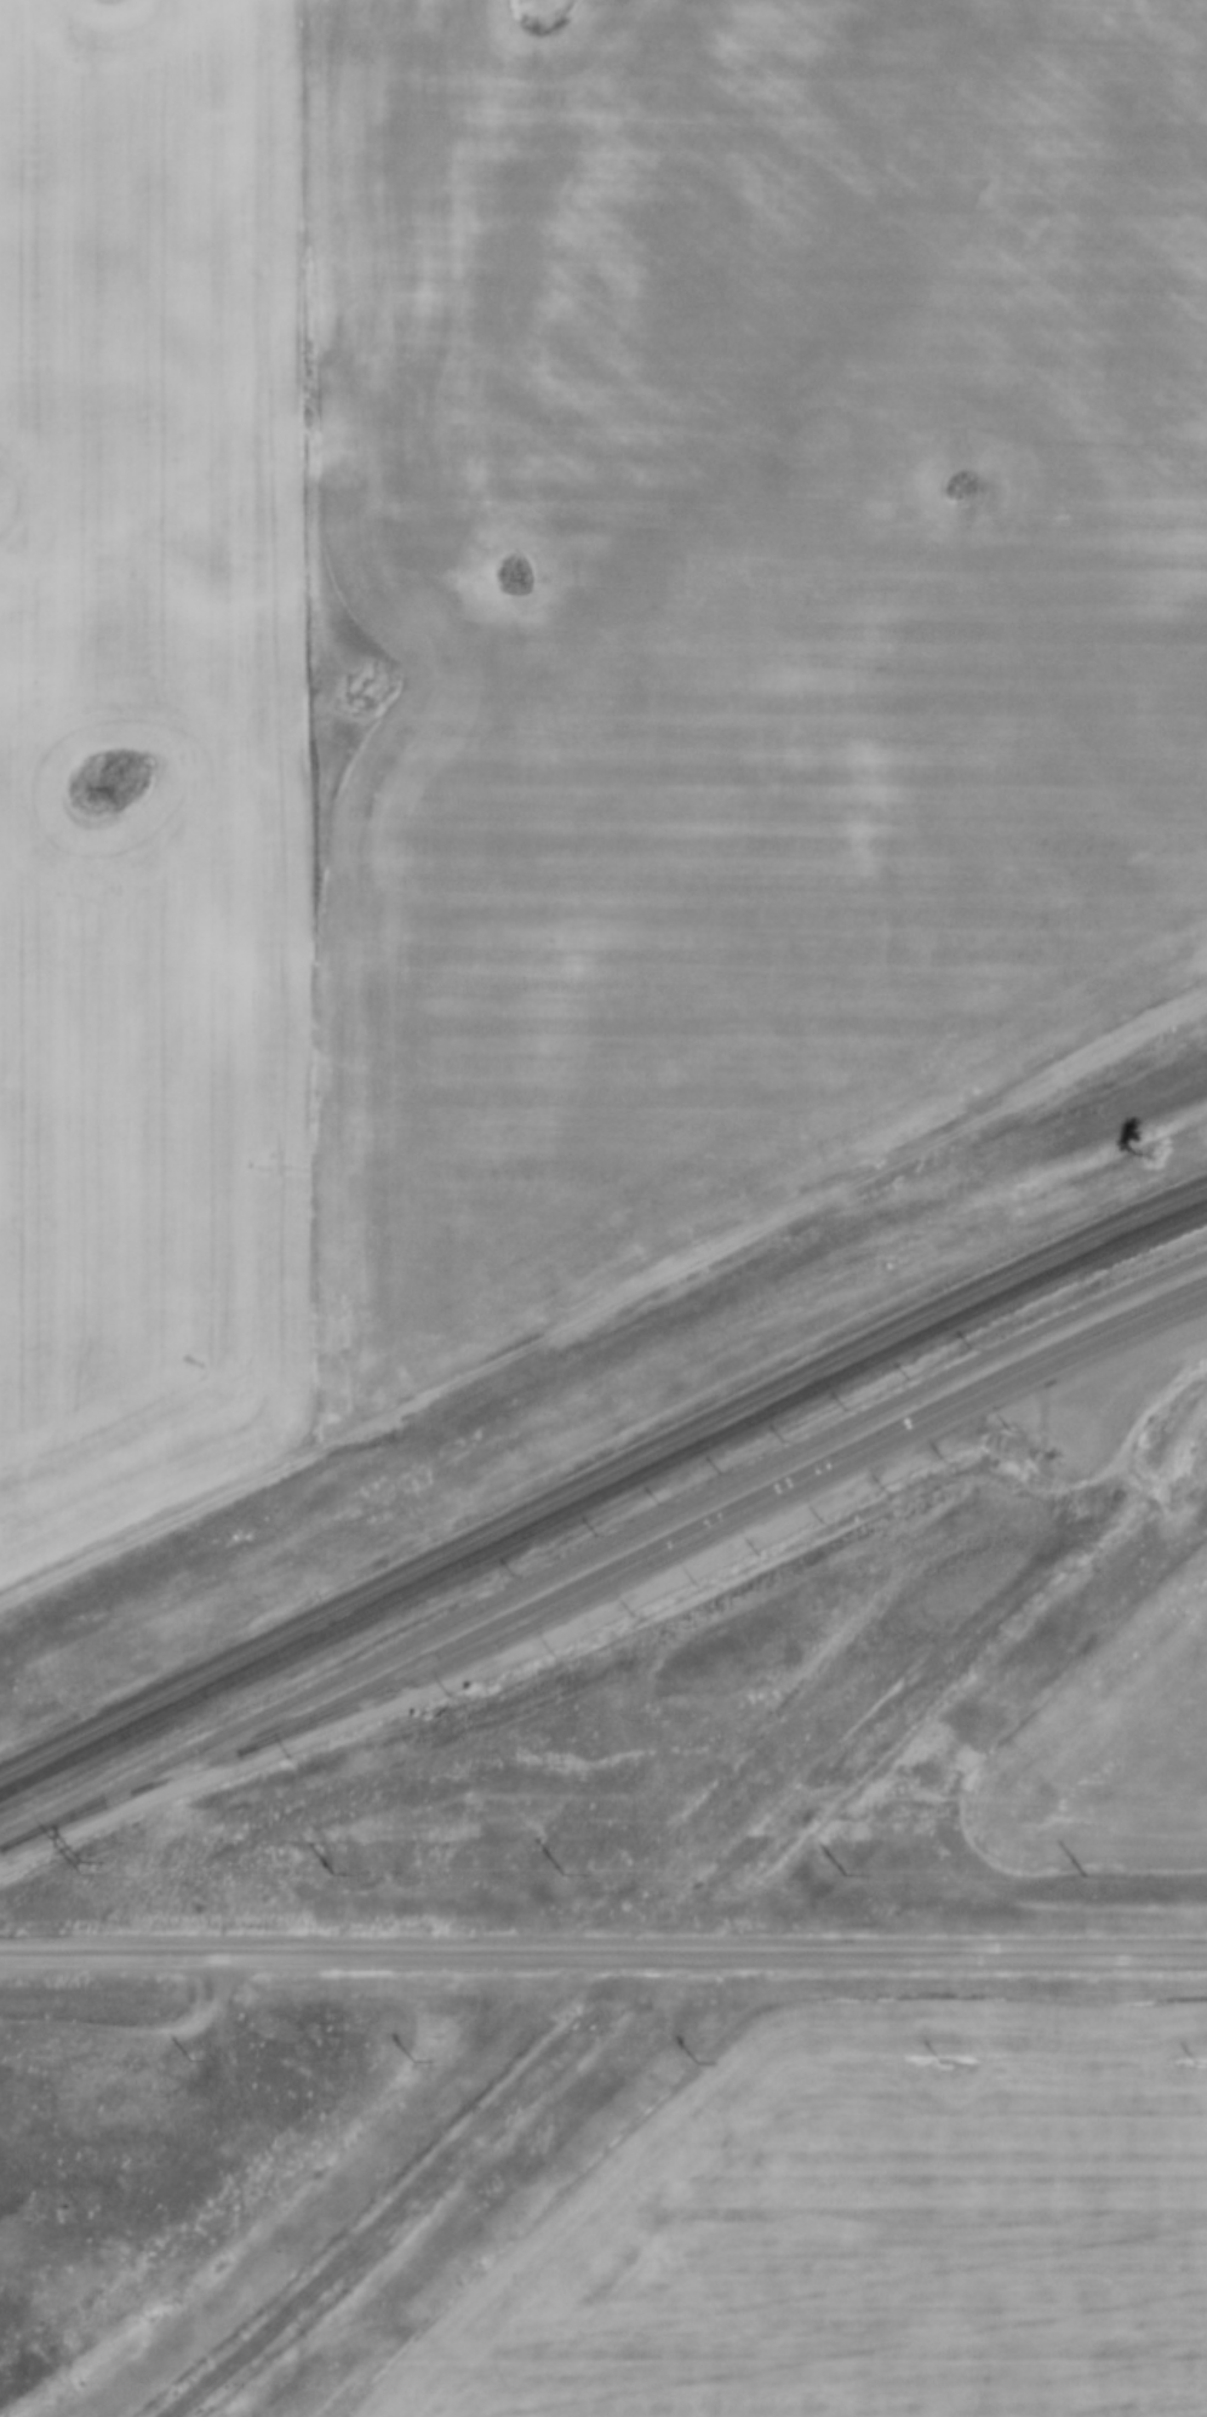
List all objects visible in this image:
railway: (600, 1472)
railway: (600, 1492)
railway: (710, 1509)
railway: (599, 1539)
railway: (619, 1570)
power tower: (80, 1865)
road: (602, 1952)

